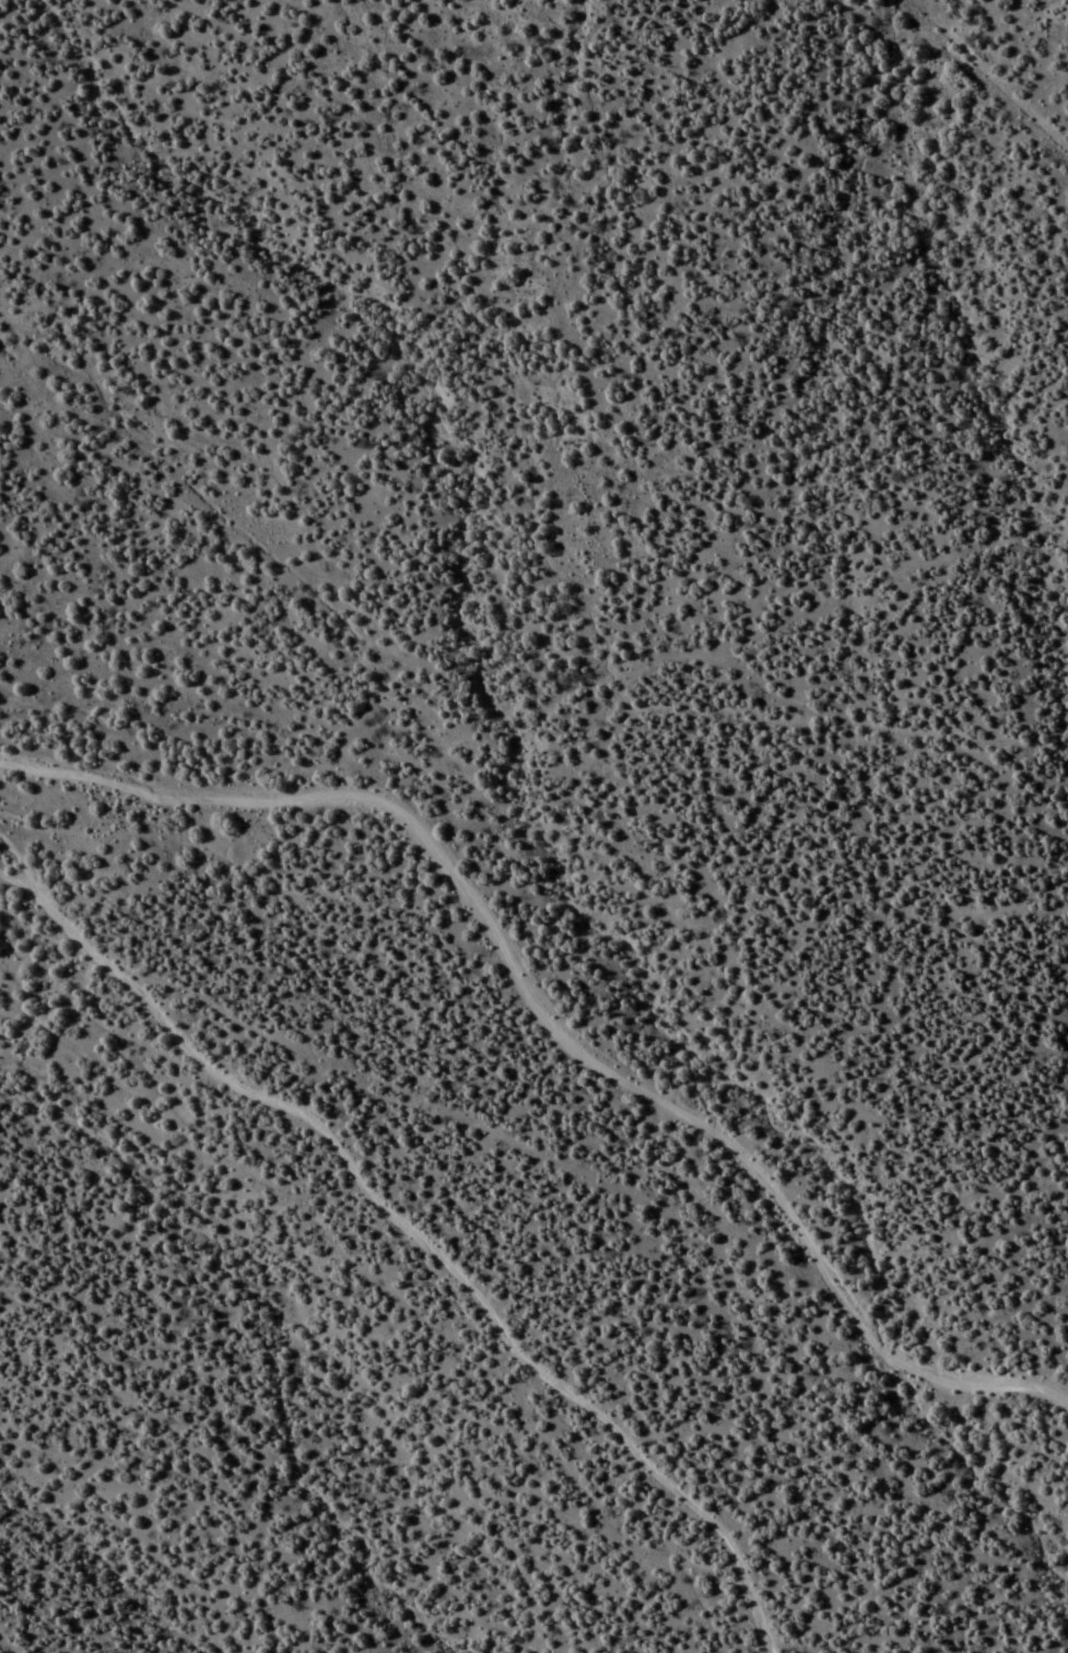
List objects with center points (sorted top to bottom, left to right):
road: (570, 1045)
road: (421, 1265)

